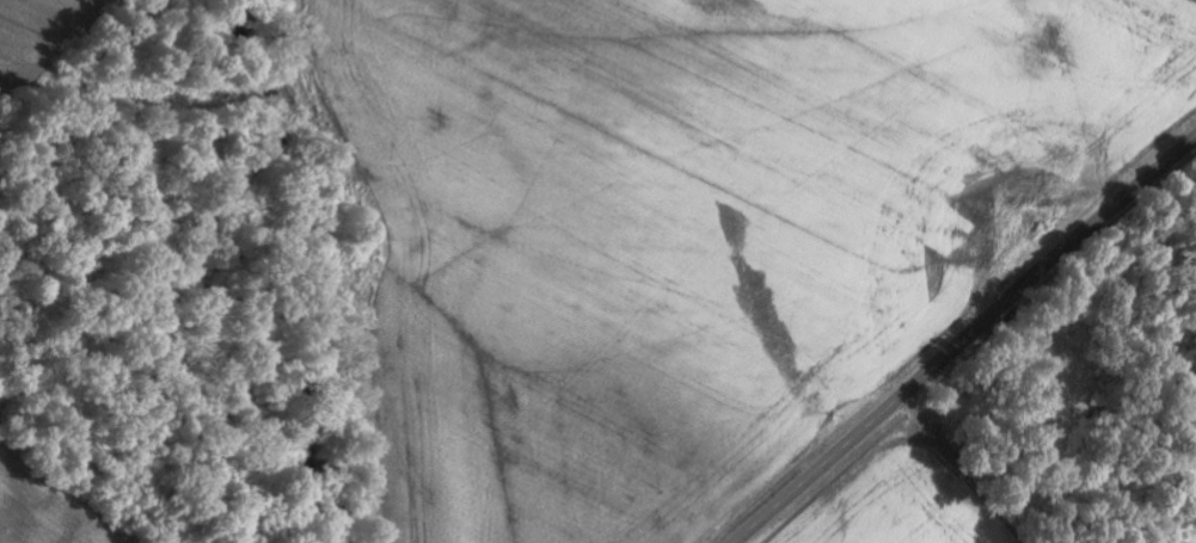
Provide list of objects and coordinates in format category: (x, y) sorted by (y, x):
road: (964, 340)

